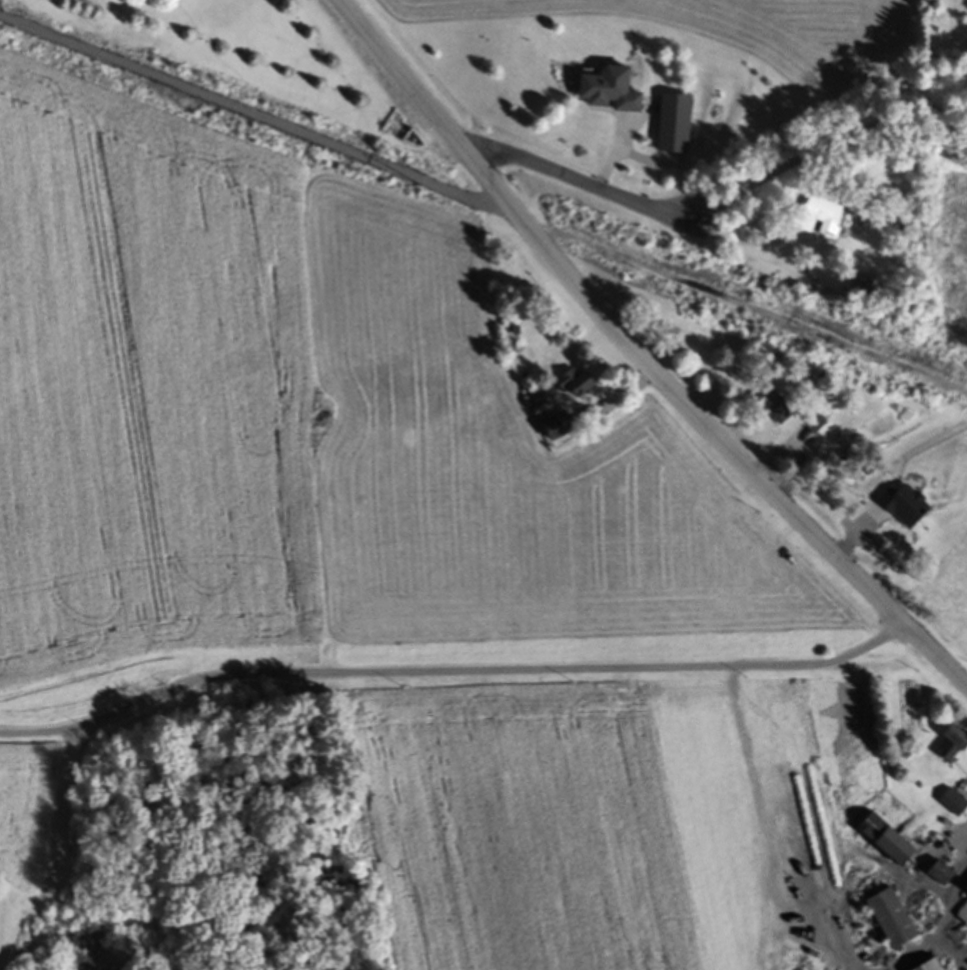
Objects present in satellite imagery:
power tower: (8, 21)
building: (609, 93)
road: (265, 126)
building: (674, 126)
road: (826, 144)
road: (579, 174)
power tower: (429, 184)
building: (822, 213)
power tower: (856, 350)
road: (639, 355)
building: (574, 387)
building: (777, 410)
building: (814, 426)
building: (559, 429)
road: (450, 671)
building: (952, 743)
building: (953, 804)
building: (885, 841)
building: (939, 875)
building: (962, 916)
building: (891, 921)
building: (931, 966)

